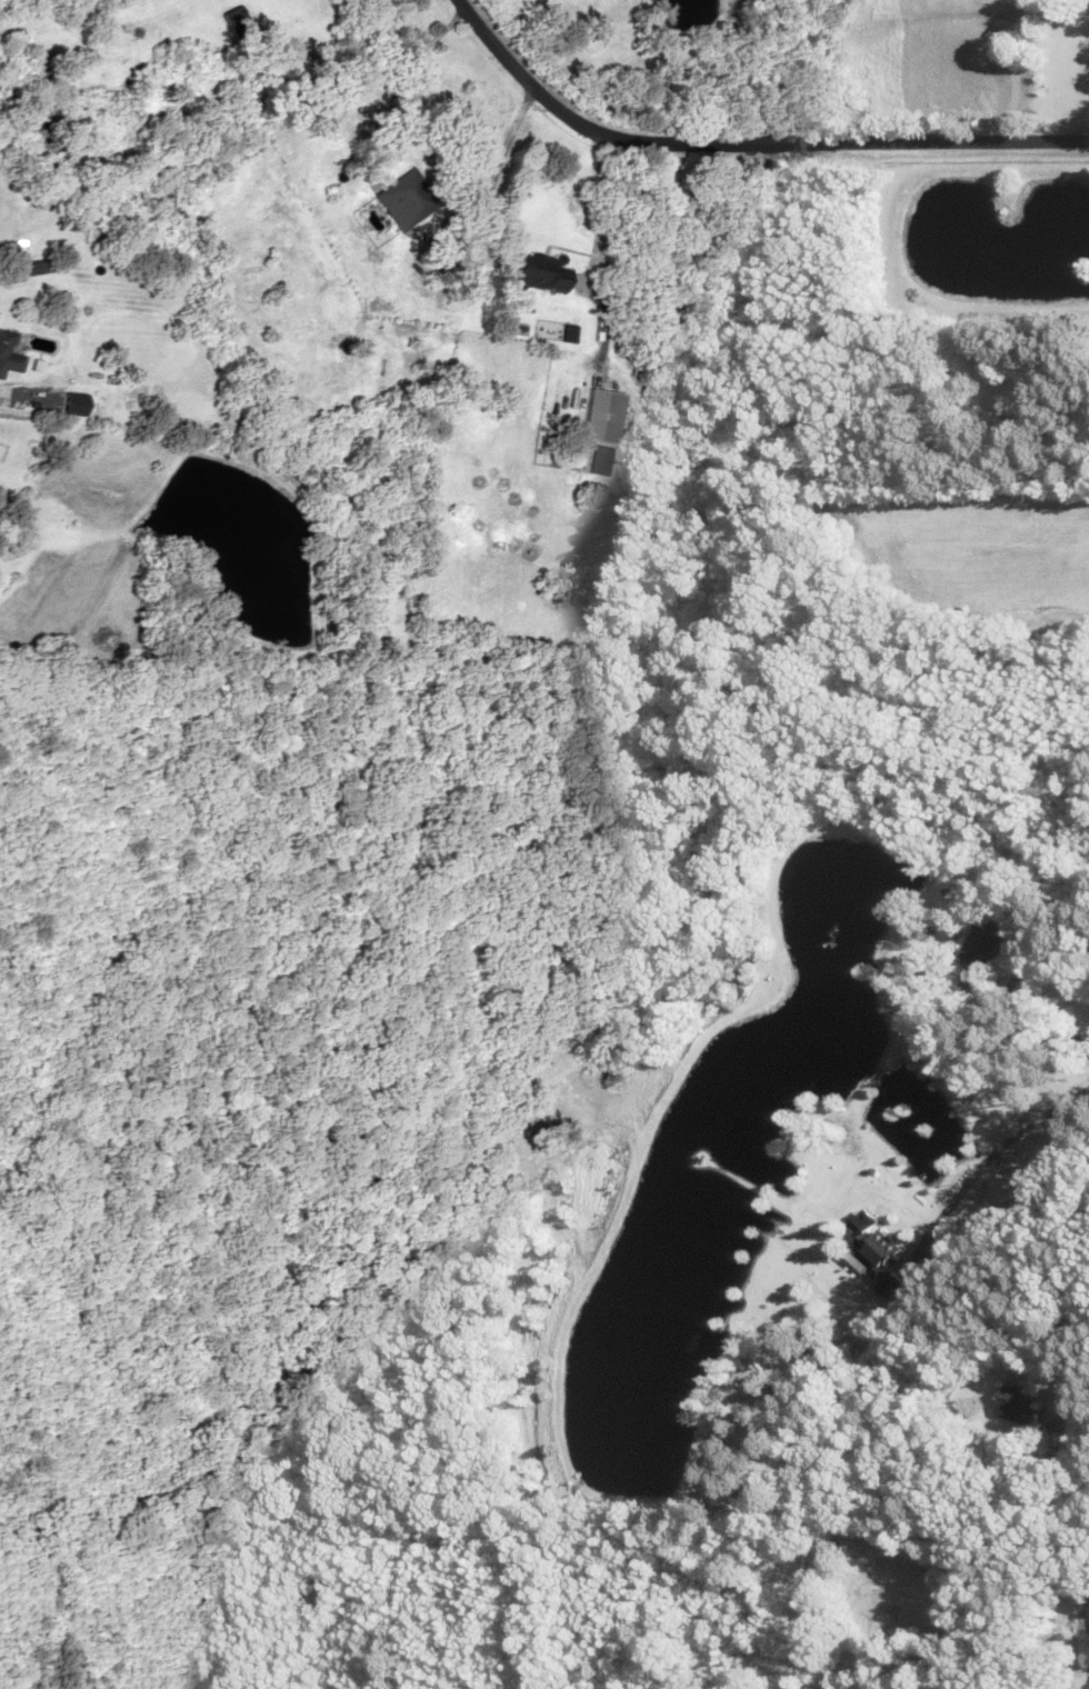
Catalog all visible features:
building: (230, 21)
building: (340, 117)
building: (800, 141)
road: (743, 142)
building: (403, 198)
building: (24, 268)
building: (541, 271)
building: (460, 281)
building: (8, 352)
building: (599, 414)
building: (597, 459)
building: (985, 941)
building: (877, 1263)
building: (1021, 1406)
building: (1065, 1441)
building: (927, 1686)

